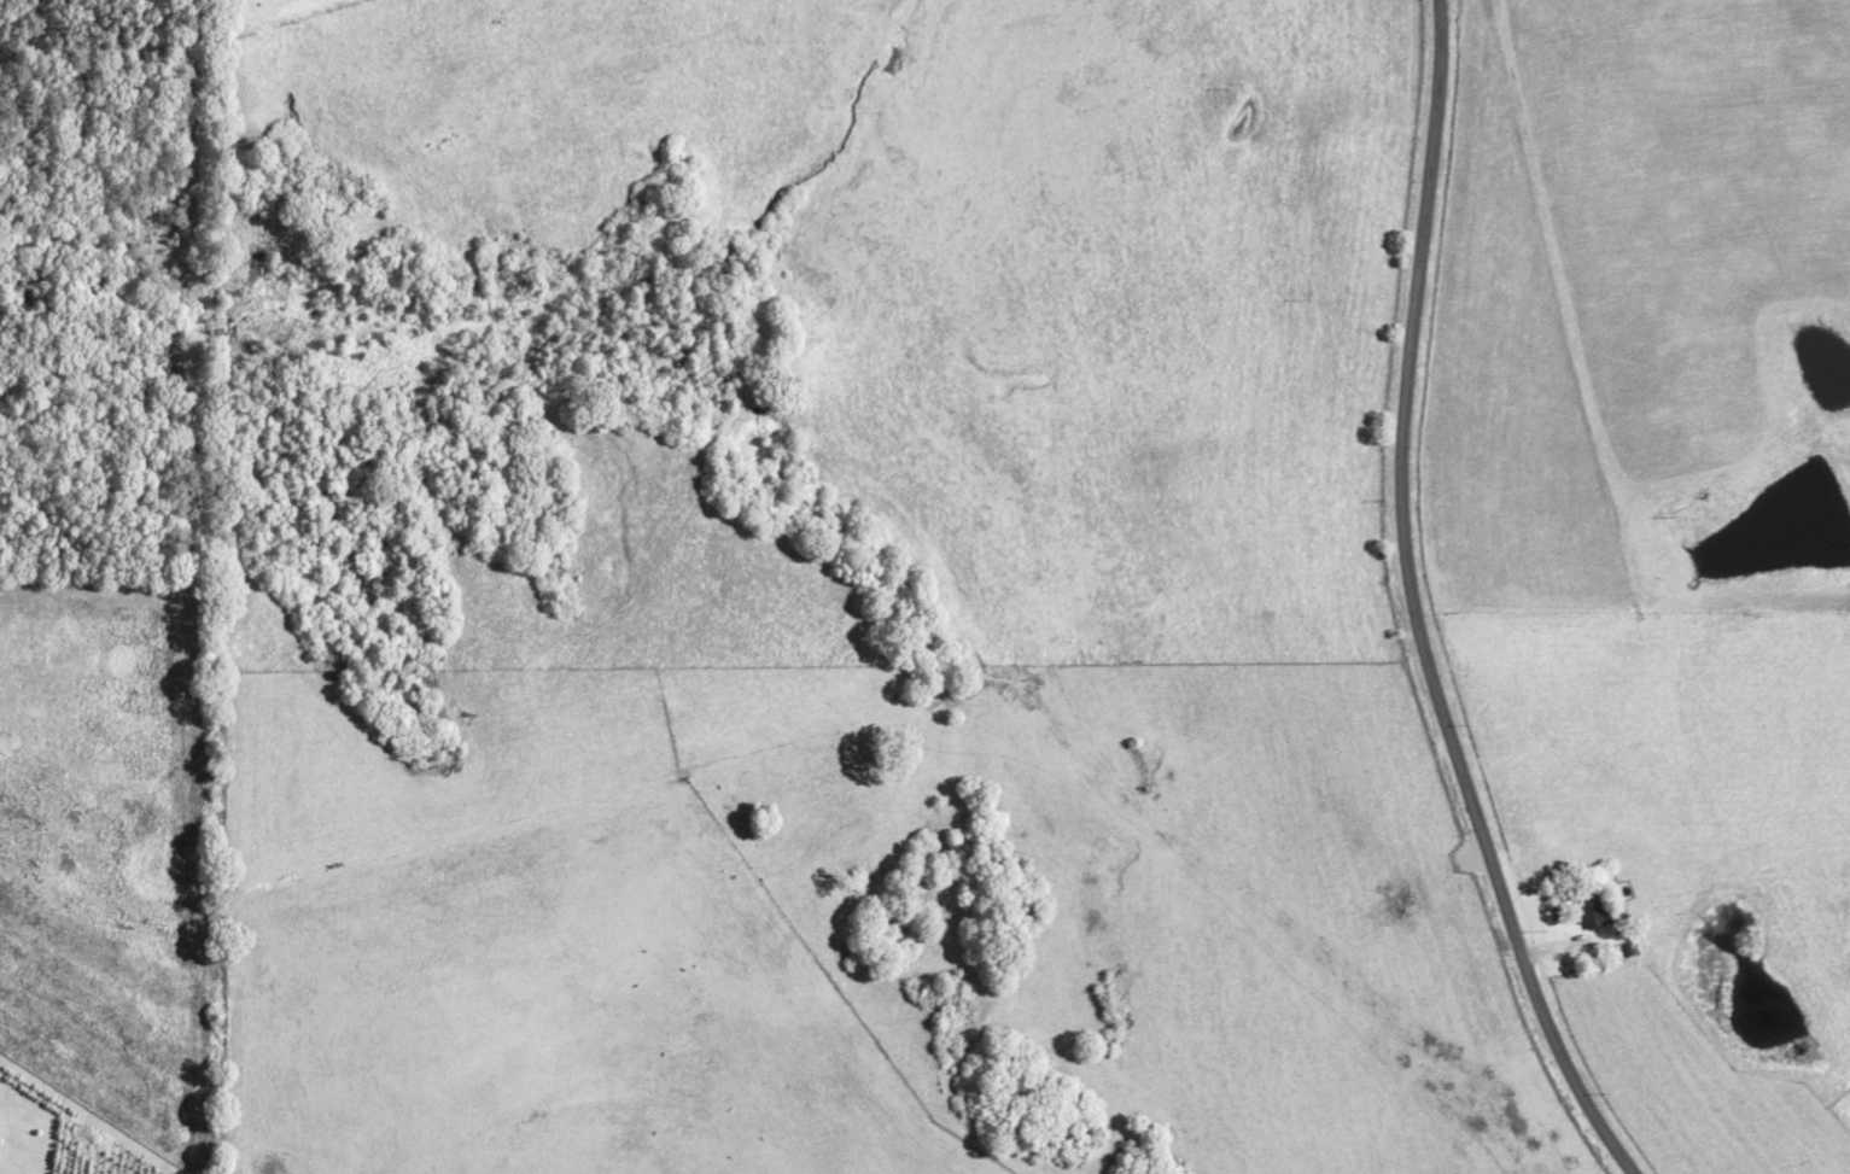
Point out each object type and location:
road: (1413, 607)
building: (1588, 911)

